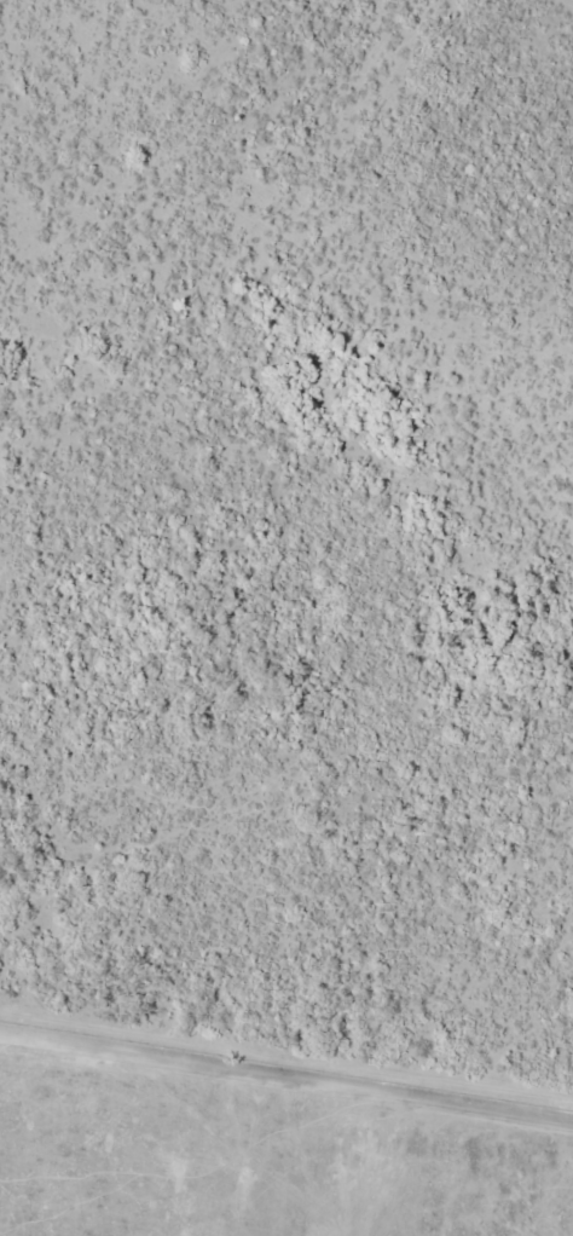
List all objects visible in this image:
road: (543, 953)

